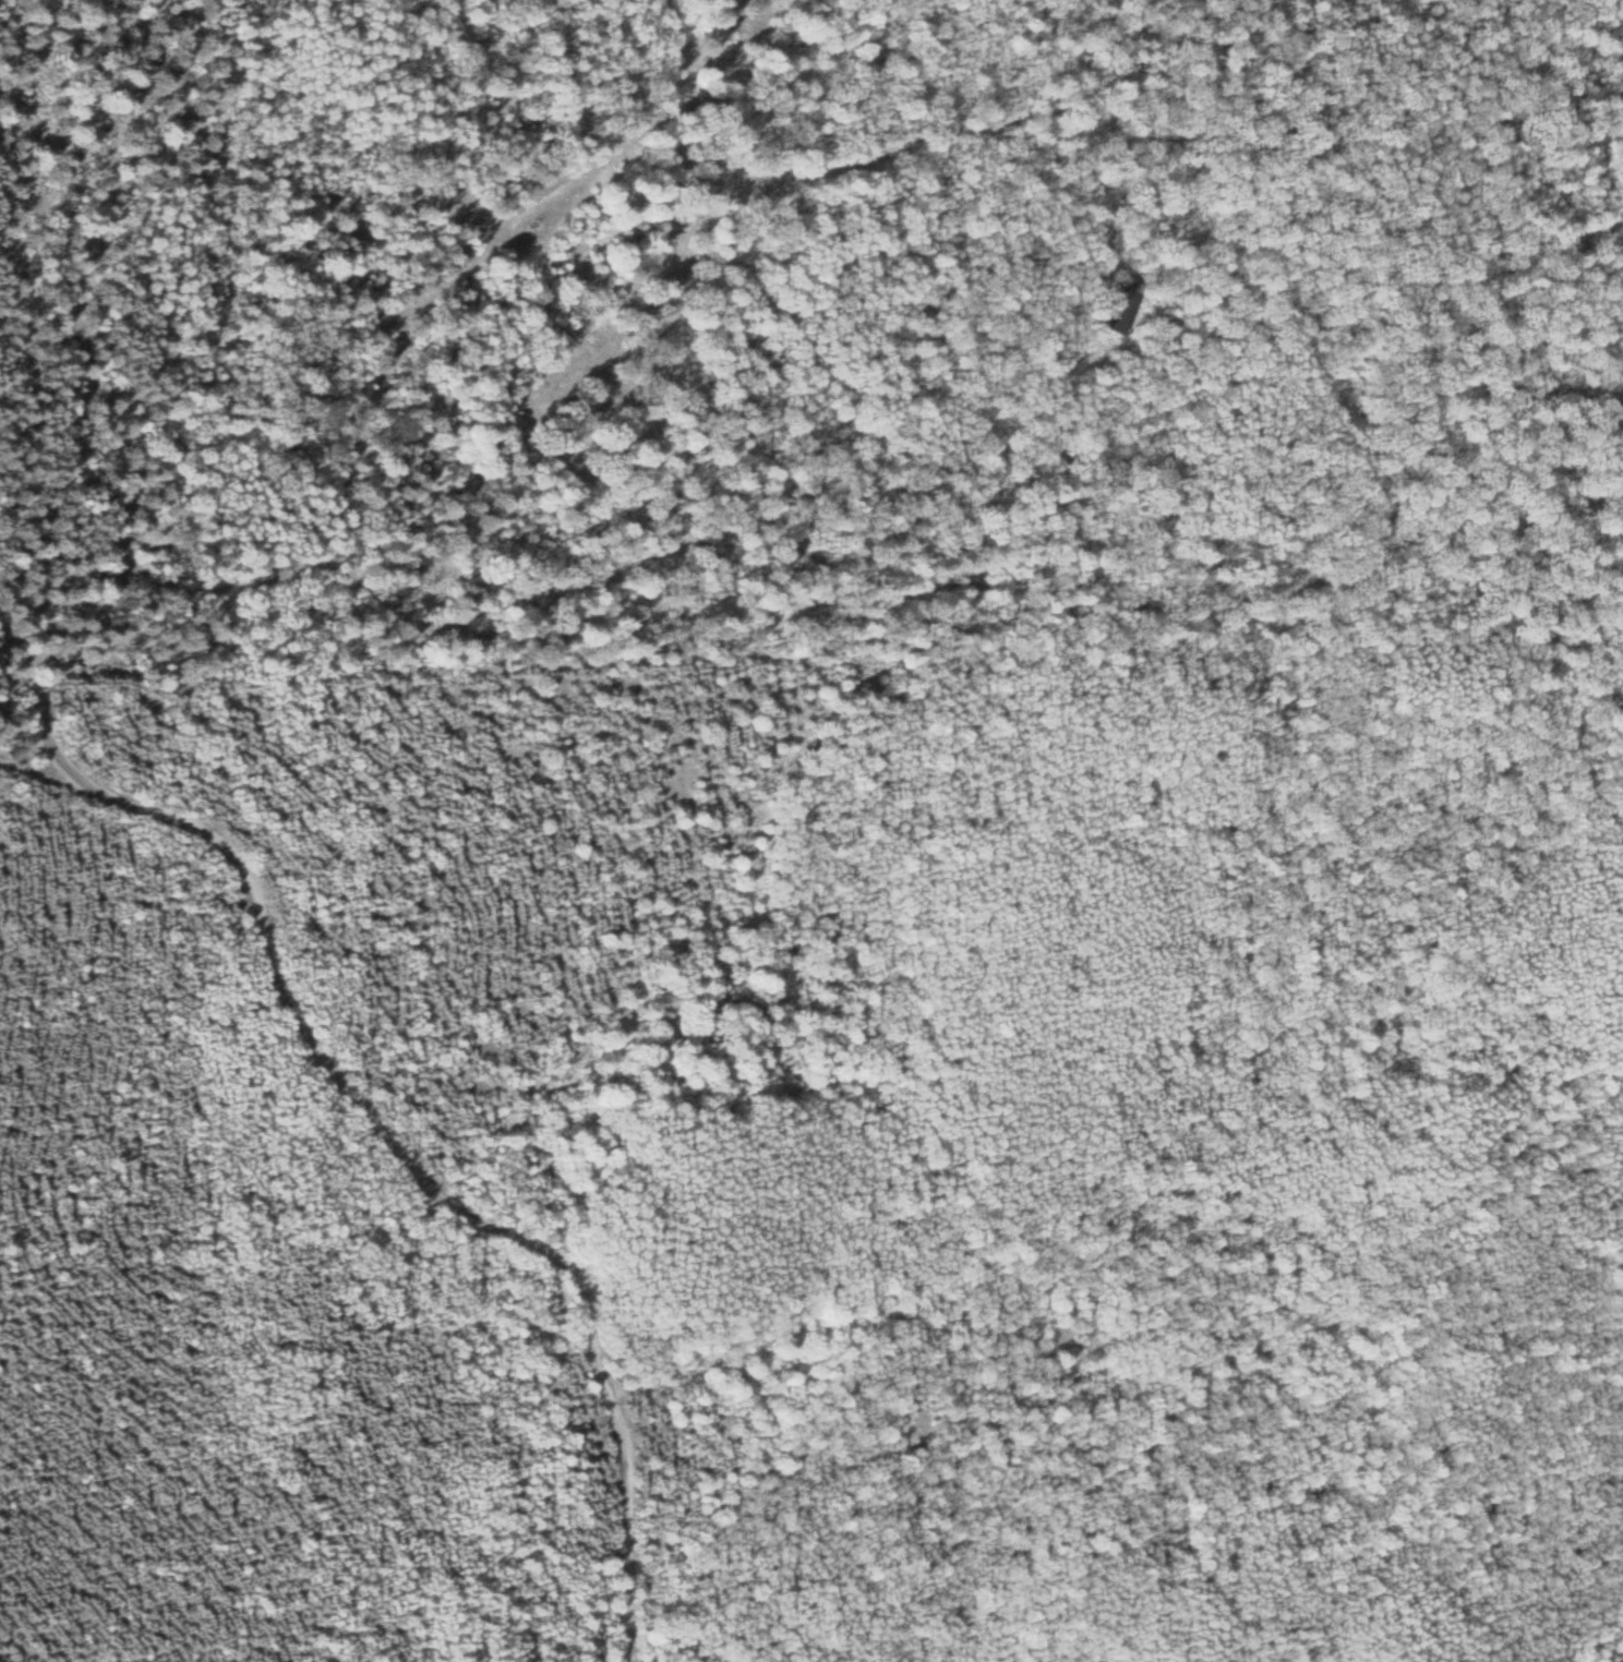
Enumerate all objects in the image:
road: (732, 141)
building: (1115, 306)
road: (127, 568)
road: (35, 708)
road: (396, 1159)

